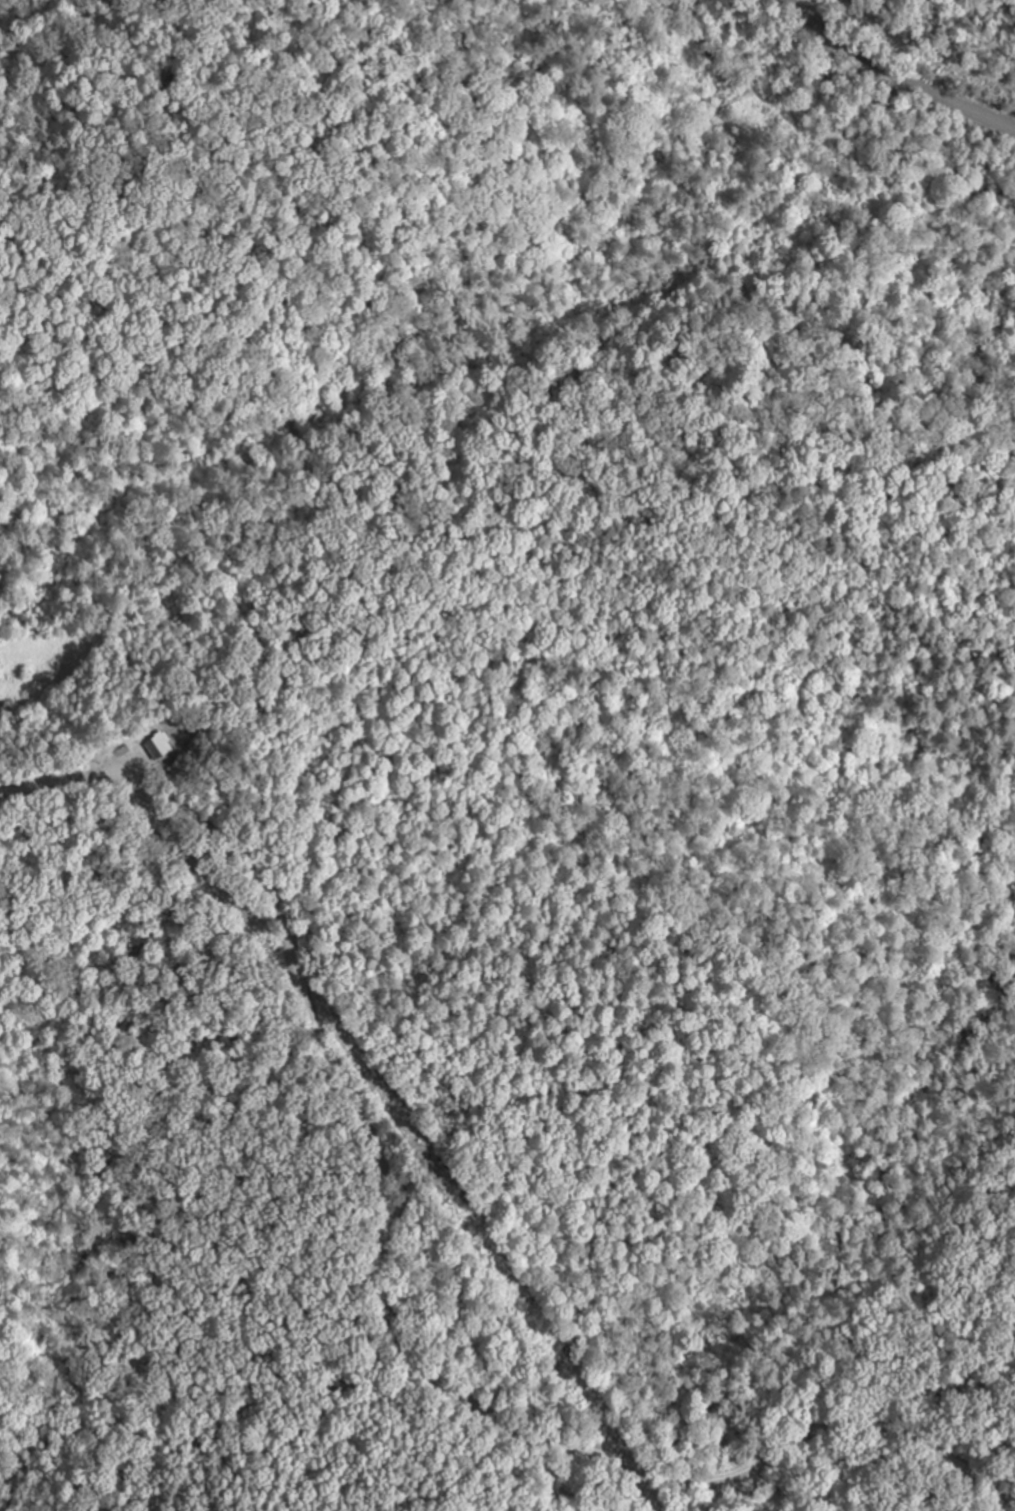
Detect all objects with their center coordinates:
road: (895, 74)
building: (159, 747)
road: (383, 1293)
road: (778, 1462)

